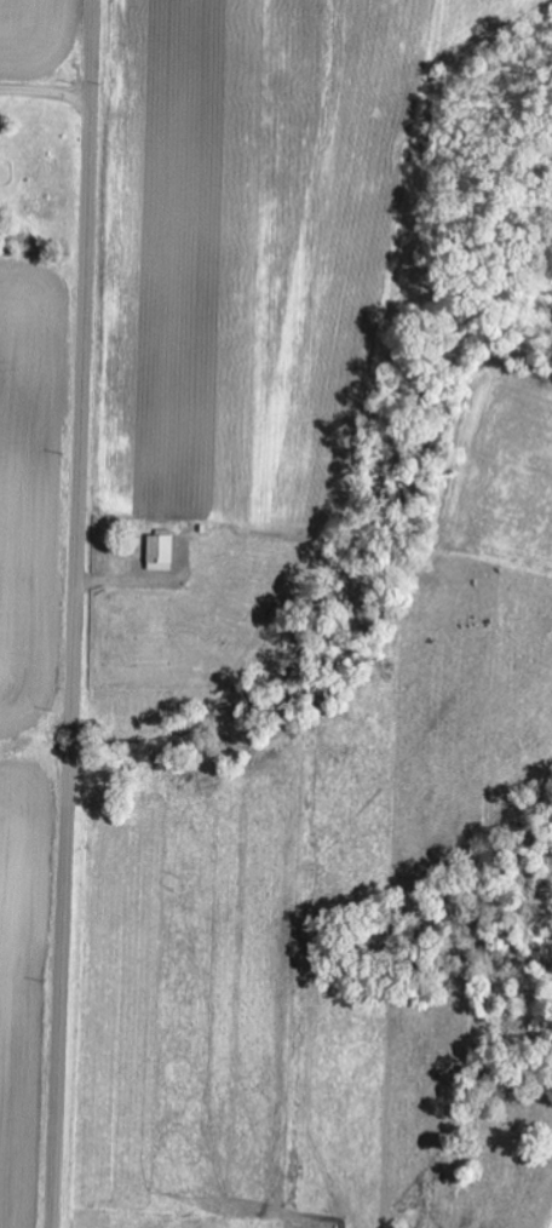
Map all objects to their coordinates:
building: (159, 555)
road: (73, 614)

